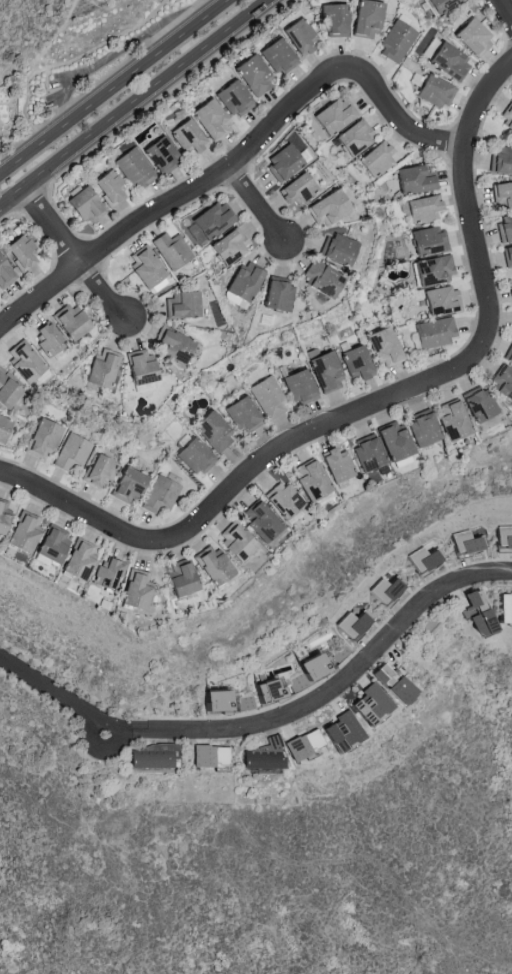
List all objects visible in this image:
building: (438, 4)
road: (505, 10)
building: (363, 18)
building: (331, 19)
building: (296, 35)
building: (470, 37)
building: (394, 41)
road: (112, 55)
building: (274, 55)
building: (446, 60)
building: (249, 74)
road: (113, 86)
building: (433, 90)
building: (230, 98)
road: (134, 102)
building: (331, 114)
building: (506, 117)
building: (206, 119)
road: (398, 119)
building: (184, 136)
building: (353, 136)
building: (158, 153)
building: (373, 159)
building: (500, 160)
building: (281, 162)
building: (132, 167)
building: (106, 187)
building: (295, 189)
building: (501, 194)
road: (174, 202)
building: (80, 205)
road: (256, 205)
building: (324, 208)
building: (420, 208)
building: (209, 219)
building: (504, 227)
building: (427, 240)
building: (226, 245)
building: (335, 248)
building: (171, 249)
building: (18, 252)
road: (74, 256)
building: (507, 257)
building: (144, 266)
building: (432, 270)
building: (3, 274)
building: (318, 277)
building: (242, 280)
building: (275, 293)
building: (509, 295)
building: (439, 300)
building: (179, 305)
building: (68, 322)
building: (433, 332)
building: (45, 338)
building: (170, 344)
building: (381, 347)
building: (508, 355)
building: (22, 362)
building: (354, 362)
building: (137, 367)
building: (99, 368)
building: (322, 371)
road: (452, 372)
building: (503, 383)
building: (295, 386)
building: (6, 392)
building: (266, 397)
building: (477, 404)
building: (240, 414)
building: (450, 421)
building: (2, 424)
building: (420, 429)
building: (210, 431)
building: (40, 438)
building: (391, 440)
building: (72, 452)
building: (365, 454)
building: (192, 456)
building: (334, 465)
building: (96, 471)
building: (307, 481)
building: (125, 485)
building: (161, 492)
building: (279, 499)
road: (80, 510)
building: (2, 513)
building: (257, 520)
building: (21, 532)
building: (505, 539)
building: (465, 541)
building: (233, 542)
building: (49, 543)
building: (419, 559)
building: (75, 560)
building: (210, 565)
building: (106, 574)
building: (177, 579)
building: (133, 590)
building: (380, 590)
building: (503, 609)
building: (473, 612)
building: (348, 624)
building: (305, 668)
road: (344, 682)
building: (389, 685)
building: (209, 701)
road: (72, 704)
building: (368, 705)
building: (338, 732)
building: (300, 744)
building: (217, 755)
building: (260, 755)
building: (149, 756)
building: (200, 756)

